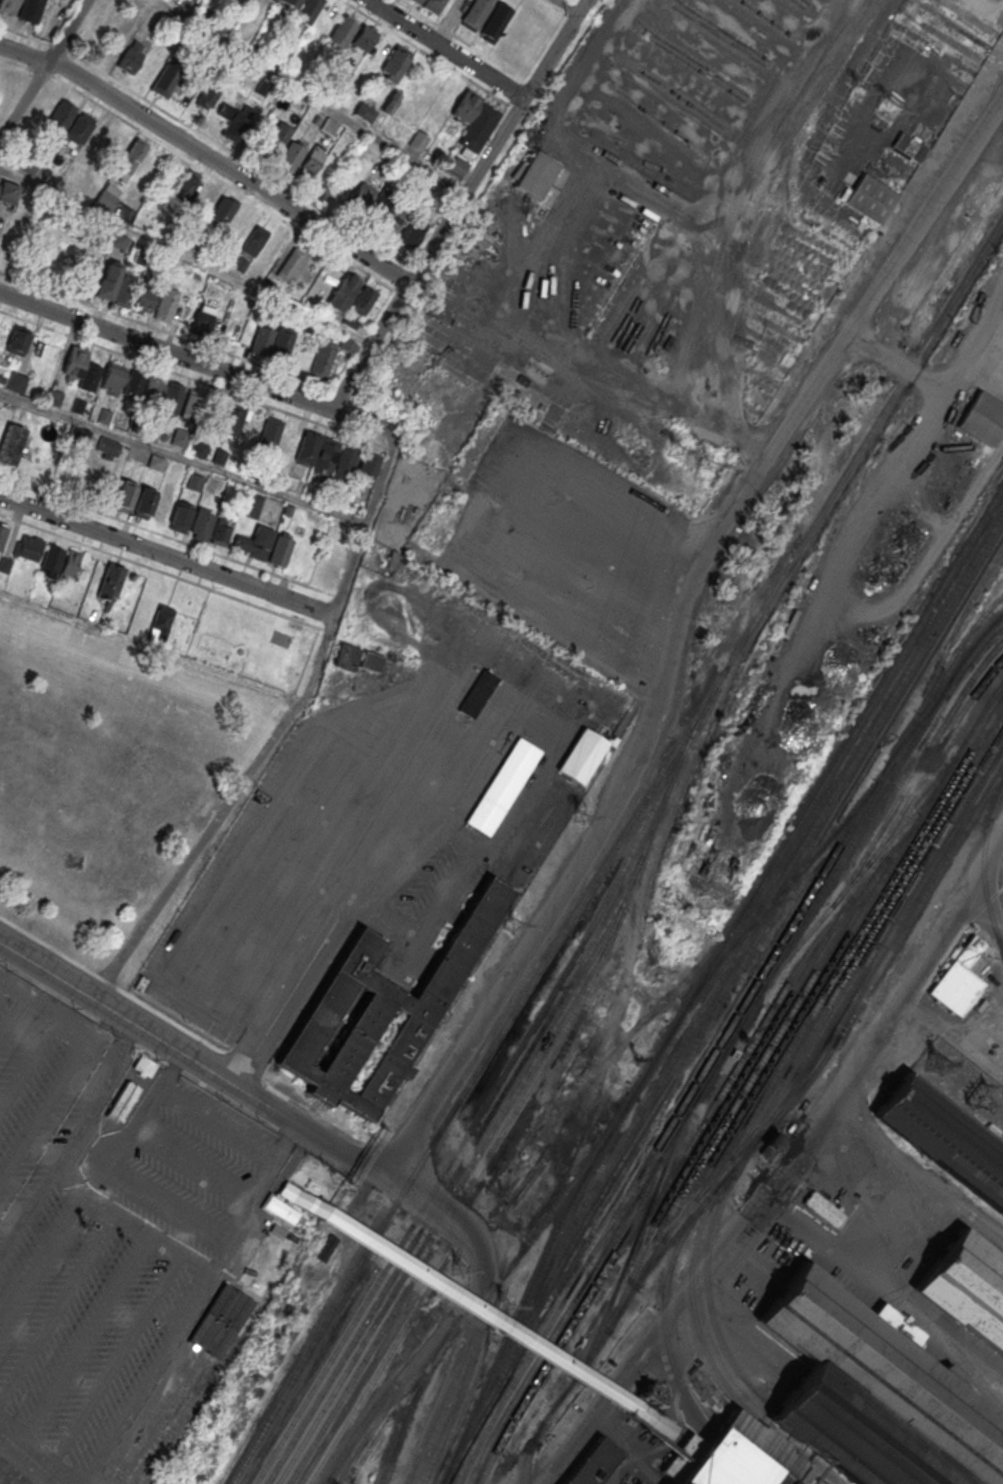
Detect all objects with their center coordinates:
building: (416, 1)
building: (288, 3)
building: (433, 5)
building: (8, 6)
road: (567, 6)
building: (30, 10)
building: (308, 10)
building: (477, 12)
building: (496, 21)
building: (99, 29)
building: (343, 31)
building: (364, 37)
road: (555, 48)
road: (445, 49)
building: (381, 51)
building: (131, 57)
building: (394, 65)
road: (43, 71)
building: (166, 80)
power tower: (857, 90)
building: (207, 96)
road: (310, 97)
building: (391, 103)
building: (467, 105)
power tower: (887, 108)
building: (365, 113)
building: (61, 116)
building: (235, 121)
building: (329, 126)
building: (80, 128)
building: (479, 128)
road: (212, 140)
building: (418, 141)
building: (96, 148)
building: (909, 148)
building: (283, 150)
road: (208, 157)
building: (130, 161)
building: (313, 161)
building: (457, 166)
road: (204, 169)
building: (534, 174)
building: (186, 186)
road: (466, 190)
building: (8, 192)
building: (362, 197)
building: (870, 199)
building: (232, 215)
building: (410, 232)
building: (255, 239)
road: (185, 256)
building: (290, 263)
road: (891, 272)
building: (105, 283)
building: (124, 291)
building: (343, 292)
building: (143, 300)
building: (365, 300)
building: (166, 304)
building: (203, 319)
road: (163, 330)
building: (261, 341)
building: (14, 342)
building: (282, 343)
road: (369, 345)
building: (322, 359)
road: (198, 361)
road: (161, 367)
building: (79, 370)
building: (120, 381)
building: (16, 382)
building: (164, 396)
building: (194, 406)
building: (982, 419)
building: (229, 420)
building: (270, 432)
building: (180, 438)
building: (11, 445)
building: (308, 447)
building: (106, 448)
building: (199, 450)
power tower: (677, 451)
building: (326, 453)
road: (184, 458)
building: (346, 461)
building: (156, 462)
power tower: (707, 466)
building: (368, 468)
building: (125, 495)
building: (144, 502)
building: (253, 506)
road: (468, 508)
building: (163, 509)
building: (181, 515)
building: (201, 523)
building: (221, 532)
building: (3, 533)
building: (261, 542)
building: (28, 547)
building: (281, 550)
road: (167, 556)
building: (52, 561)
building: (71, 562)
building: (111, 581)
railway: (978, 620)
building: (161, 622)
railway: (956, 626)
park: (255, 642)
road: (150, 650)
building: (347, 657)
building: (372, 662)
railway: (911, 663)
railway: (945, 667)
road: (460, 672)
railway: (915, 674)
railway: (945, 687)
building: (477, 693)
road: (280, 734)
building: (582, 756)
railway: (932, 758)
railway: (885, 768)
railway: (914, 769)
building: (503, 786)
railway: (805, 807)
power tower: (580, 816)
road: (603, 816)
road: (507, 829)
railway: (886, 839)
railway: (616, 847)
railway: (984, 867)
road: (297, 871)
railway: (782, 890)
railway: (808, 901)
power tower: (515, 919)
railway: (611, 934)
railway: (888, 935)
railway: (865, 940)
railway: (849, 948)
power tower: (653, 971)
building: (958, 979)
railway: (842, 994)
road: (47, 1008)
building: (383, 1010)
road: (13, 1016)
railway: (835, 1038)
railway: (744, 1053)
road: (30, 1064)
railway: (748, 1064)
power tower: (933, 1064)
railway: (678, 1066)
railway: (756, 1067)
road: (230, 1082)
power substation: (961, 1083)
railway: (701, 1087)
building: (122, 1102)
road: (46, 1113)
railway: (478, 1114)
railway: (737, 1114)
railway: (667, 1127)
building: (942, 1141)
railway: (620, 1143)
building: (770, 1145)
parking lot: (189, 1169)
railway: (456, 1170)
railway: (451, 1196)
road: (99, 1206)
building: (820, 1210)
road: (25, 1215)
railway: (536, 1231)
railway: (630, 1249)
parking lot: (80, 1250)
road: (178, 1252)
road: (41, 1262)
power tower: (457, 1267)
railway: (706, 1271)
building: (964, 1288)
railway: (526, 1294)
road: (895, 1299)
power tower: (503, 1303)
road: (57, 1309)
road: (475, 1309)
railway: (664, 1315)
railway: (568, 1321)
railway: (583, 1335)
road: (83, 1336)
railway: (702, 1342)
road: (469, 1355)
road: (115, 1361)
railway: (360, 1364)
road: (146, 1379)
railway: (369, 1384)
building: (874, 1395)
railway: (414, 1402)
building: (653, 1421)
railway: (530, 1450)
road: (33, 1454)
building: (738, 1456)
building: (596, 1463)

